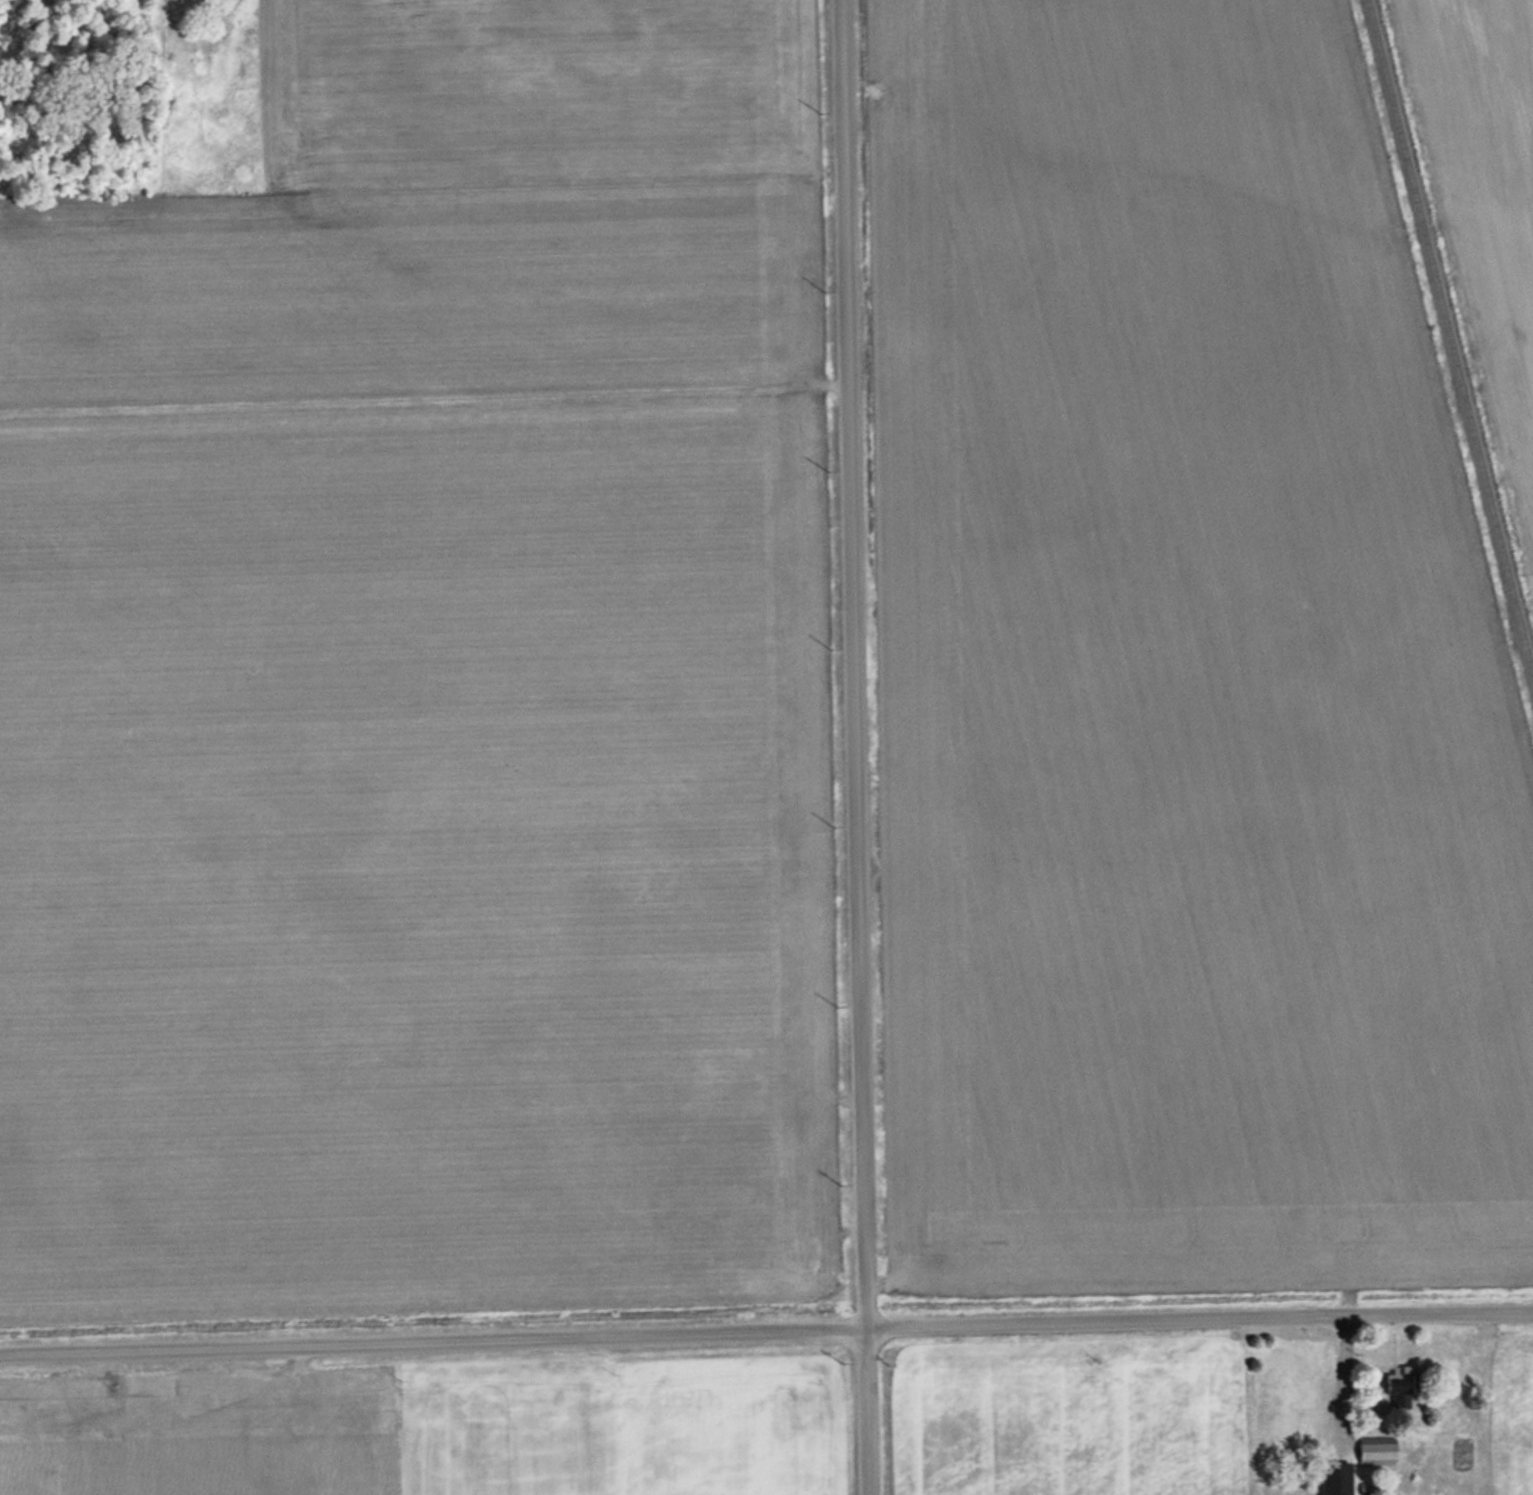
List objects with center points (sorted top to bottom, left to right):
railway: (1451, 336)
road: (849, 747)
road: (766, 1330)
building: (1402, 1384)
building: (1377, 1450)
building: (1336, 1478)

